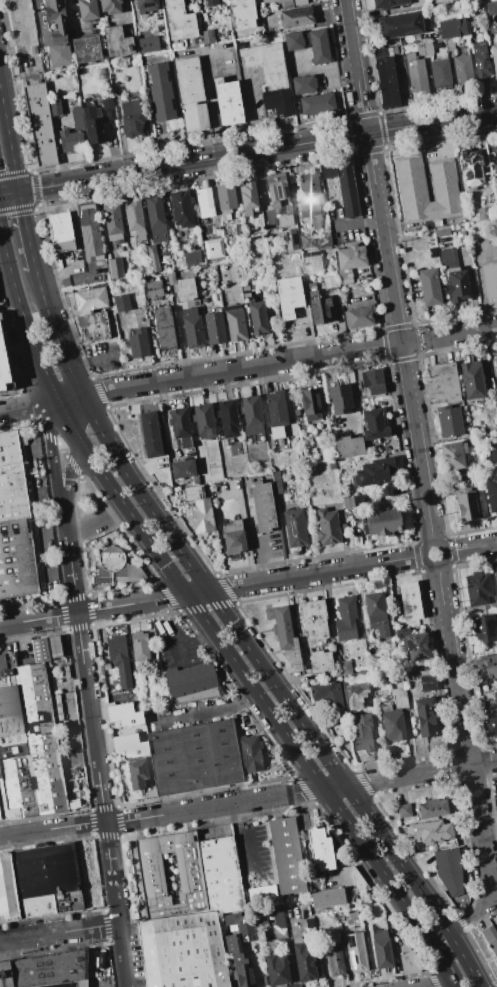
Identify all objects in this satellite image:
building: (269, 1)
building: (441, 1)
building: (211, 2)
building: (299, 2)
building: (388, 4)
building: (146, 5)
building: (109, 6)
building: (491, 8)
building: (88, 10)
building: (242, 14)
building: (294, 15)
building: (179, 20)
building: (401, 26)
building: (451, 28)
building: (57, 33)
building: (207, 37)
building: (496, 37)
building: (26, 39)
building: (293, 41)
building: (117, 42)
building: (148, 45)
building: (450, 45)
building: (319, 46)
building: (87, 49)
building: (420, 49)
road: (352, 50)
building: (494, 58)
building: (481, 61)
building: (267, 64)
building: (463, 71)
road: (324, 73)
building: (415, 73)
building: (440, 74)
building: (386, 82)
building: (303, 84)
building: (160, 91)
building: (191, 94)
building: (92, 97)
building: (228, 101)
building: (277, 101)
building: (317, 103)
road: (209, 104)
building: (55, 108)
building: (108, 108)
road: (368, 115)
road: (248, 116)
road: (357, 117)
building: (131, 118)
building: (77, 120)
building: (41, 123)
building: (93, 125)
road: (446, 137)
building: (70, 140)
road: (9, 142)
building: (496, 149)
road: (167, 150)
road: (248, 152)
building: (328, 169)
building: (471, 169)
building: (275, 178)
building: (411, 181)
building: (347, 187)
traffic signals: (19, 192)
building: (279, 195)
building: (248, 197)
building: (263, 199)
building: (309, 199)
building: (225, 200)
building: (204, 202)
building: (181, 208)
building: (481, 213)
building: (155, 217)
building: (135, 219)
building: (270, 221)
building: (286, 221)
building: (113, 223)
road: (357, 224)
park: (483, 228)
building: (239, 229)
building: (253, 229)
parking lot: (339, 229)
road: (26, 231)
building: (442, 231)
building: (62, 232)
building: (89, 233)
building: (322, 237)
building: (290, 239)
building: (305, 240)
building: (333, 240)
road: (5, 248)
building: (118, 248)
building: (432, 253)
building: (200, 256)
building: (447, 257)
building: (153, 258)
building: (191, 258)
building: (312, 261)
building: (349, 261)
building: (243, 266)
building: (116, 268)
road: (67, 280)
building: (489, 280)
building: (288, 283)
building: (330, 283)
building: (457, 284)
road: (479, 286)
building: (429, 288)
building: (312, 289)
building: (185, 290)
building: (157, 291)
building: (89, 300)
building: (122, 302)
building: (321, 310)
building: (259, 316)
building: (359, 316)
road: (25, 319)
building: (235, 323)
building: (92, 326)
building: (165, 328)
building: (193, 328)
building: (214, 328)
road: (459, 332)
road: (399, 338)
road: (411, 340)
building: (139, 343)
building: (112, 351)
building: (173, 355)
building: (4, 364)
building: (496, 364)
road: (241, 369)
building: (472, 380)
building: (373, 381)
building: (444, 382)
road: (50, 383)
road: (69, 398)
building: (339, 399)
building: (311, 404)
road: (28, 407)
building: (297, 412)
road: (80, 416)
building: (252, 417)
building: (277, 417)
building: (227, 418)
building: (203, 420)
building: (449, 421)
building: (374, 425)
building: (180, 426)
building: (150, 435)
building: (348, 446)
building: (380, 446)
road: (50, 455)
building: (453, 456)
building: (493, 457)
building: (182, 468)
building: (375, 472)
road: (70, 474)
building: (11, 478)
building: (276, 482)
building: (194, 493)
building: (492, 494)
building: (347, 502)
building: (263, 506)
building: (467, 506)
building: (201, 516)
road: (96, 521)
building: (383, 523)
building: (329, 527)
building: (295, 528)
road: (251, 531)
building: (234, 537)
road: (171, 538)
building: (355, 540)
road: (471, 547)
road: (444, 548)
building: (17, 559)
road: (70, 562)
building: (116, 567)
road: (316, 573)
building: (496, 579)
building: (480, 591)
road: (197, 592)
road: (187, 596)
building: (409, 600)
road: (93, 610)
building: (376, 613)
road: (444, 613)
building: (346, 618)
building: (314, 619)
building: (483, 628)
building: (285, 636)
building: (139, 646)
building: (53, 647)
building: (416, 647)
building: (40, 649)
building: (119, 659)
building: (321, 661)
building: (106, 666)
building: (486, 667)
building: (344, 668)
building: (66, 671)
building: (191, 682)
building: (428, 685)
building: (327, 694)
building: (494, 697)
building: (369, 699)
building: (123, 714)
building: (395, 716)
building: (425, 716)
building: (490, 724)
building: (361, 731)
building: (27, 743)
building: (250, 753)
building: (194, 757)
road: (483, 762)
road: (470, 770)
building: (137, 773)
road: (408, 775)
road: (335, 787)
building: (496, 793)
building: (399, 798)
road: (101, 799)
building: (433, 808)
building: (404, 811)
road: (162, 814)
building: (431, 834)
road: (247, 841)
building: (320, 849)
building: (286, 856)
road: (377, 865)
building: (449, 872)
building: (186, 874)
building: (39, 882)
road: (415, 884)
building: (262, 893)
building: (327, 898)
road: (478, 911)
building: (278, 917)
building: (261, 918)
building: (241, 925)
building: (487, 930)
road: (58, 933)
building: (493, 948)
building: (382, 949)
building: (183, 951)
building: (356, 952)
building: (335, 960)
building: (303, 961)
building: (238, 963)
building: (409, 963)
road: (438, 965)
building: (46, 970)
building: (276, 970)
road: (442, 986)

